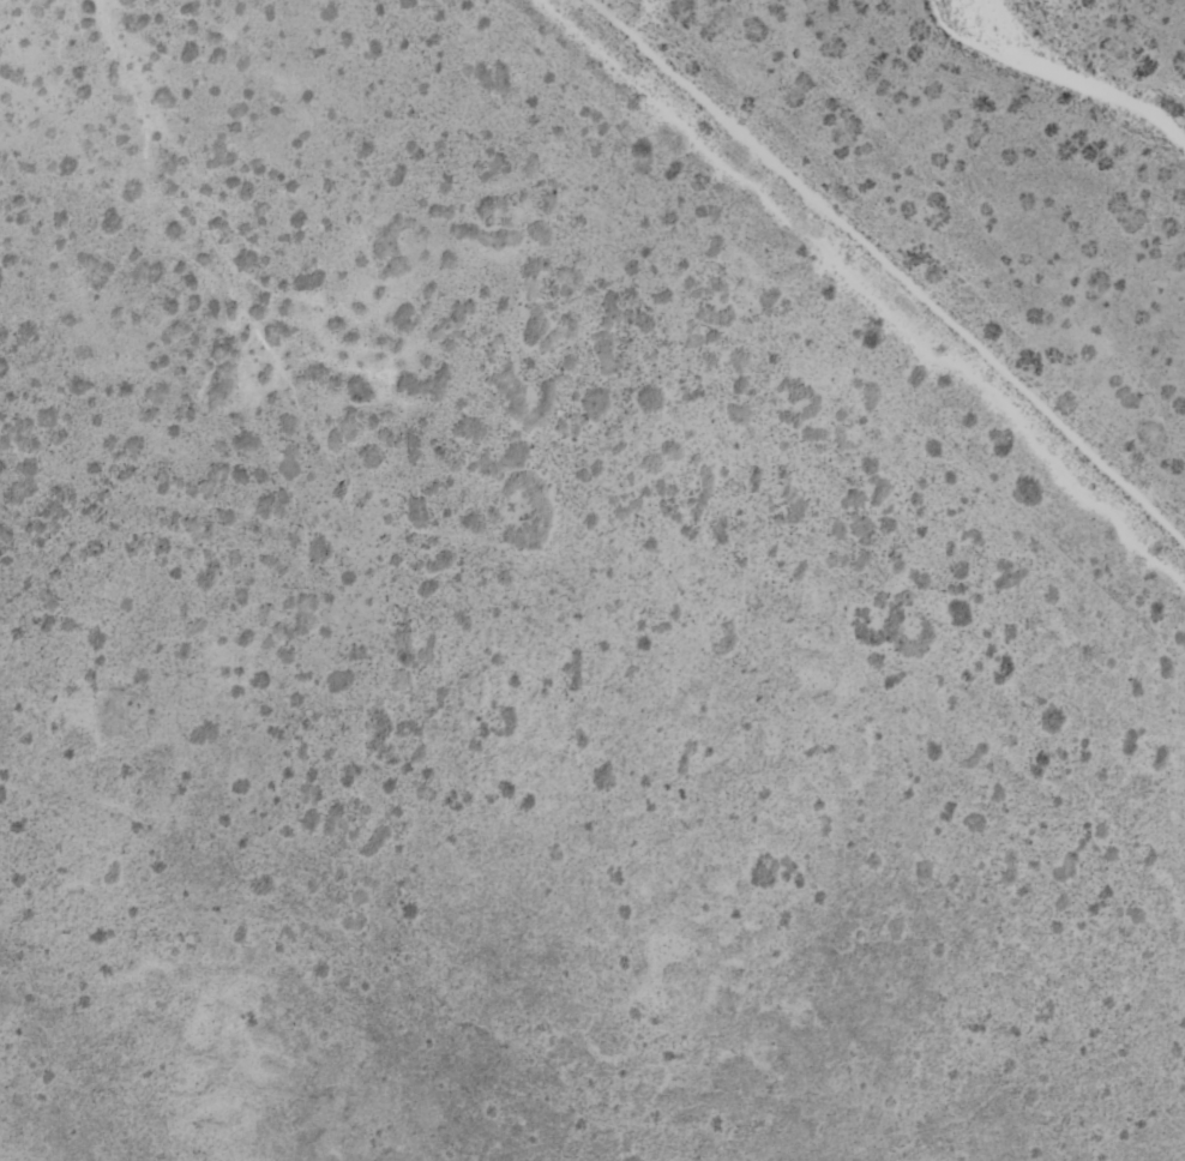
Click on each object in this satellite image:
road: (1, 16)

